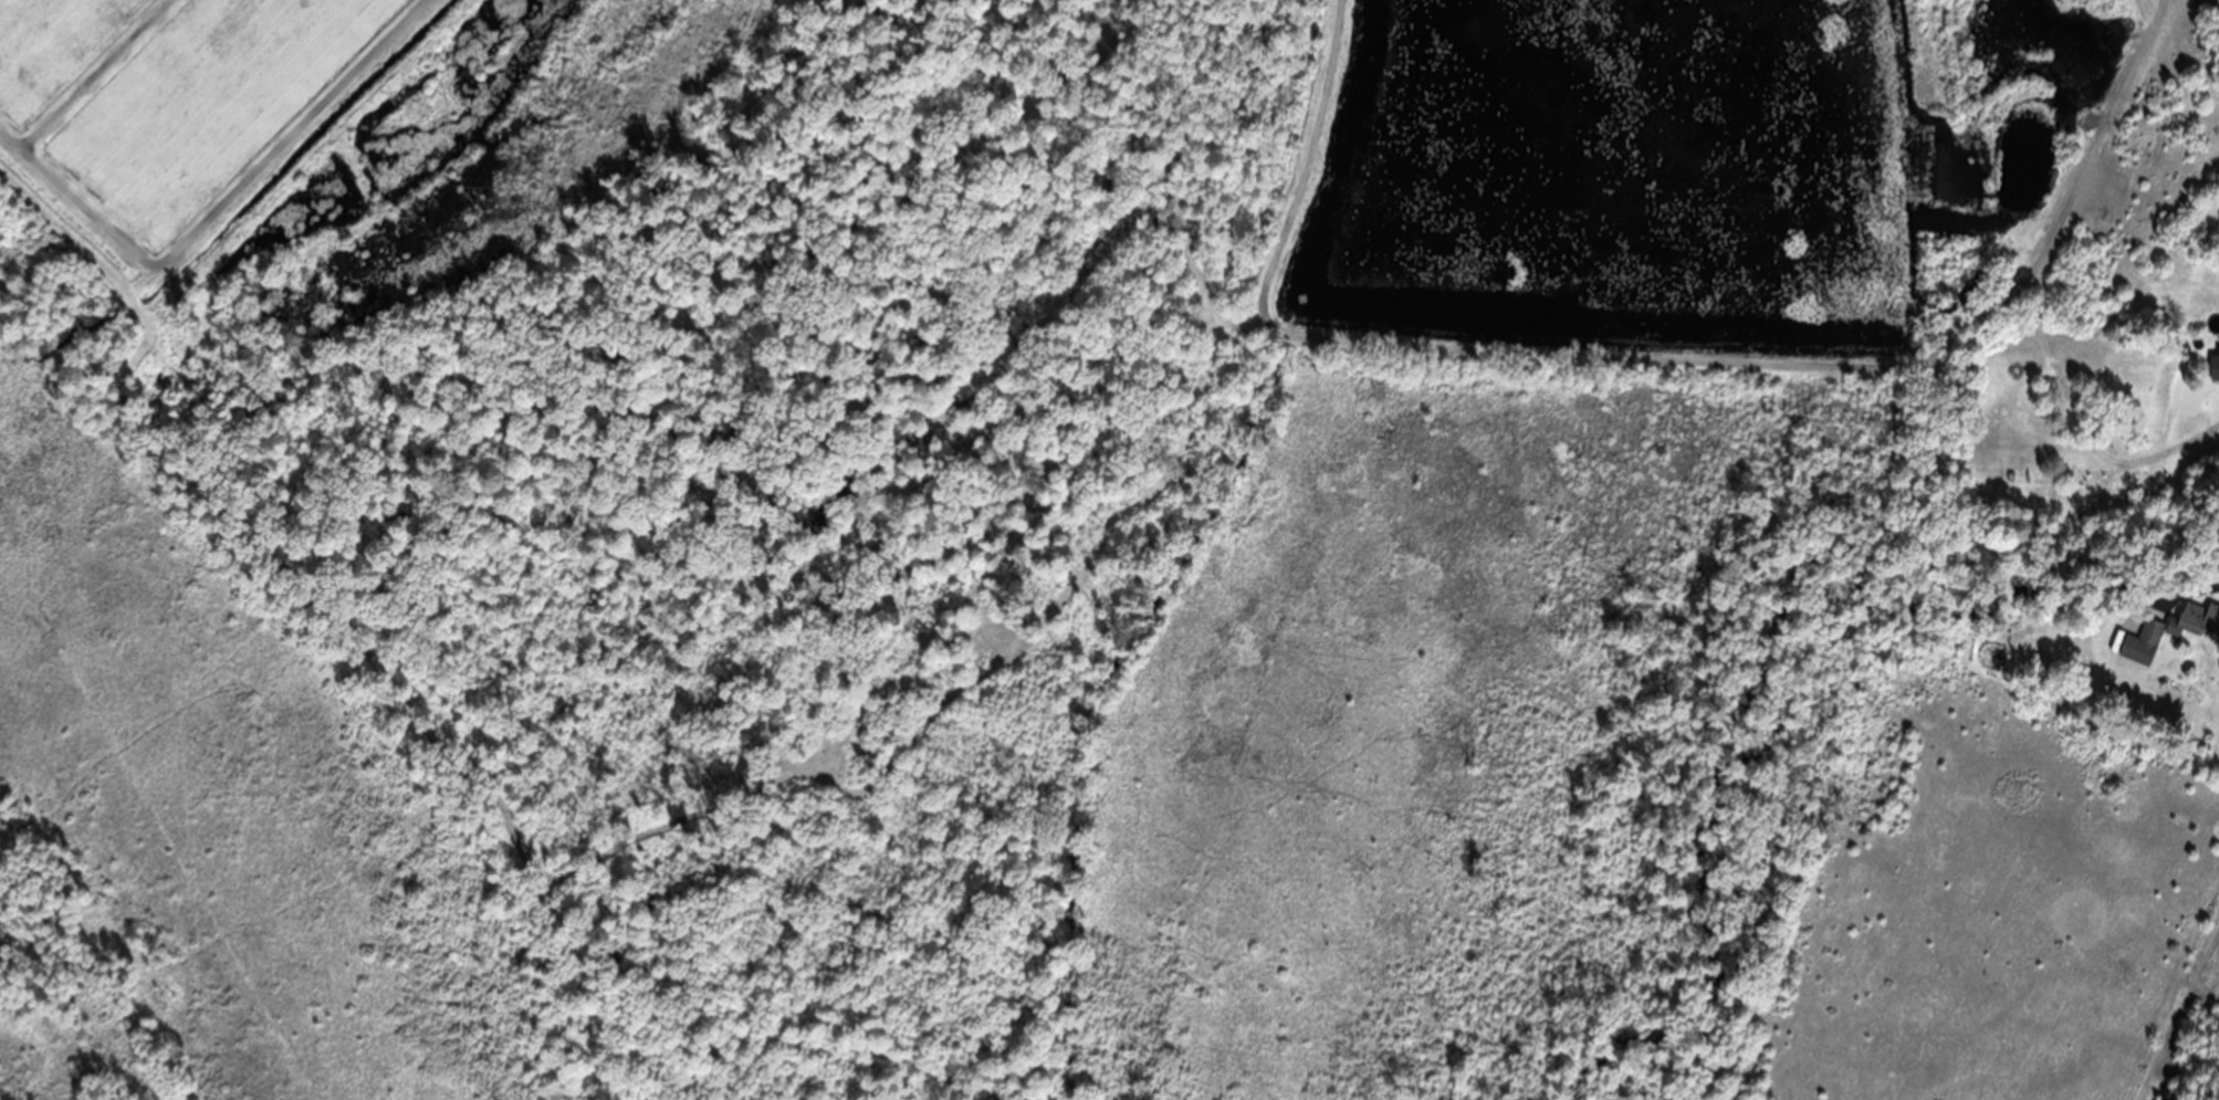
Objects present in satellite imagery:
road: (2208, 4)
crop: (178, 111)
building: (2211, 366)
building: (2181, 626)
building: (2038, 662)

